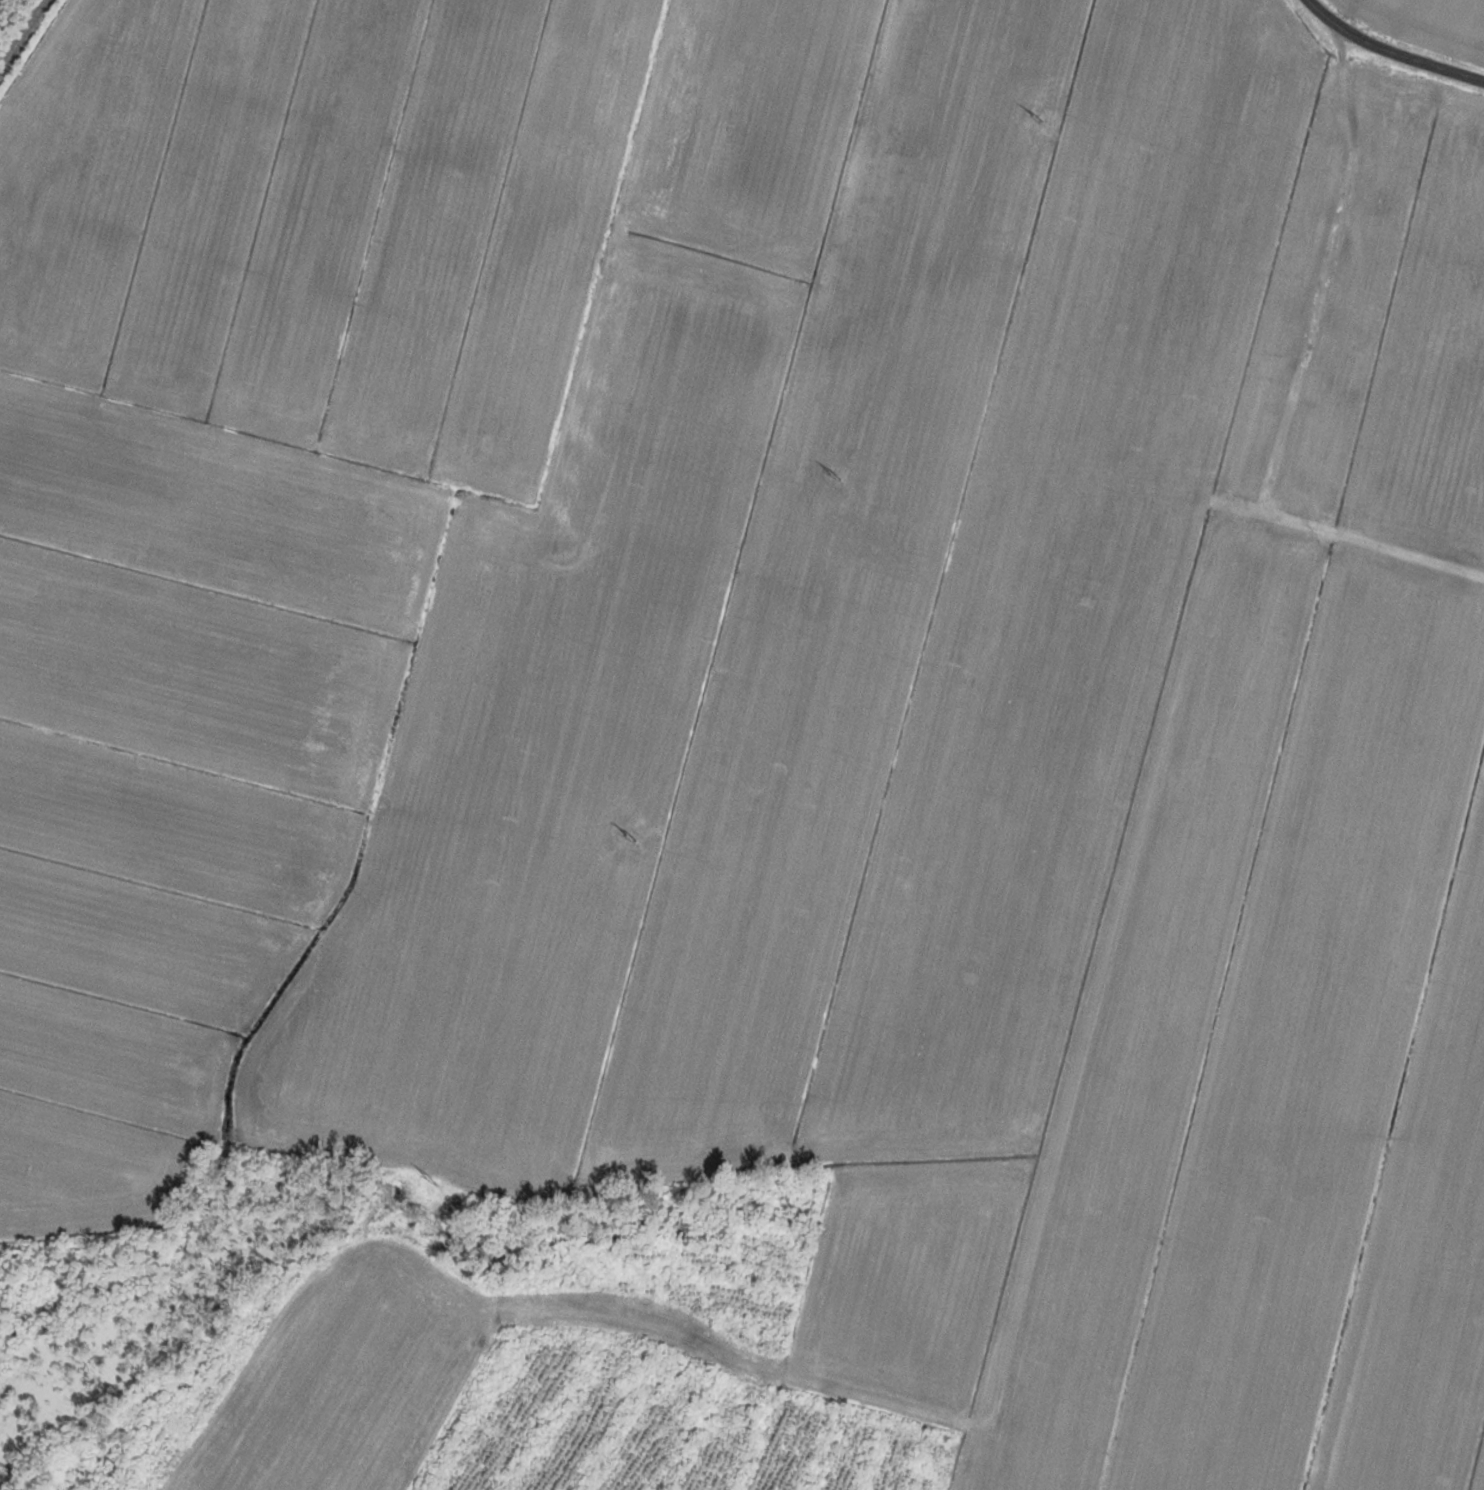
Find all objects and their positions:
railway: (24, 37)
road: (1385, 60)
power tower: (1035, 117)
building: (1392, 155)
building: (1304, 221)
building: (1355, 345)
power tower: (834, 474)
power tower: (629, 838)
power tower: (428, 1179)

